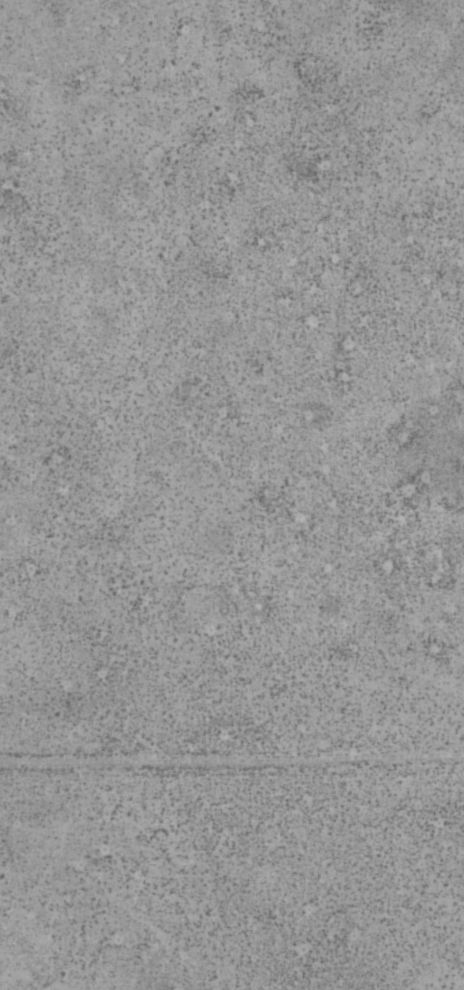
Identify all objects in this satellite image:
road: (232, 751)

